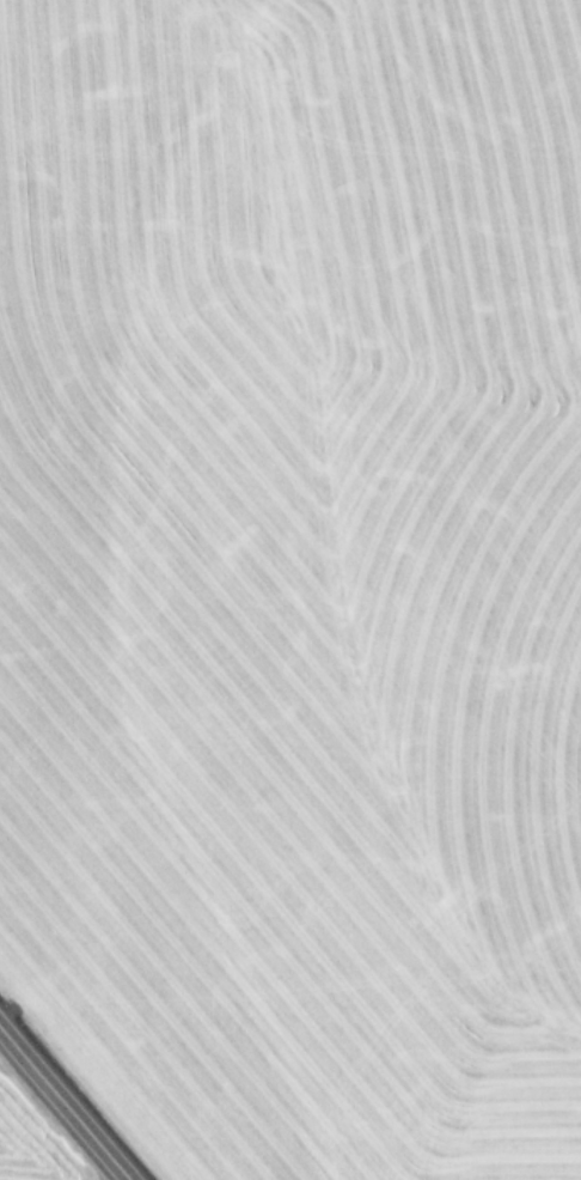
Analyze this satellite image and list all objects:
crop: (296, 576)
road: (62, 1106)
crop: (32, 1141)

